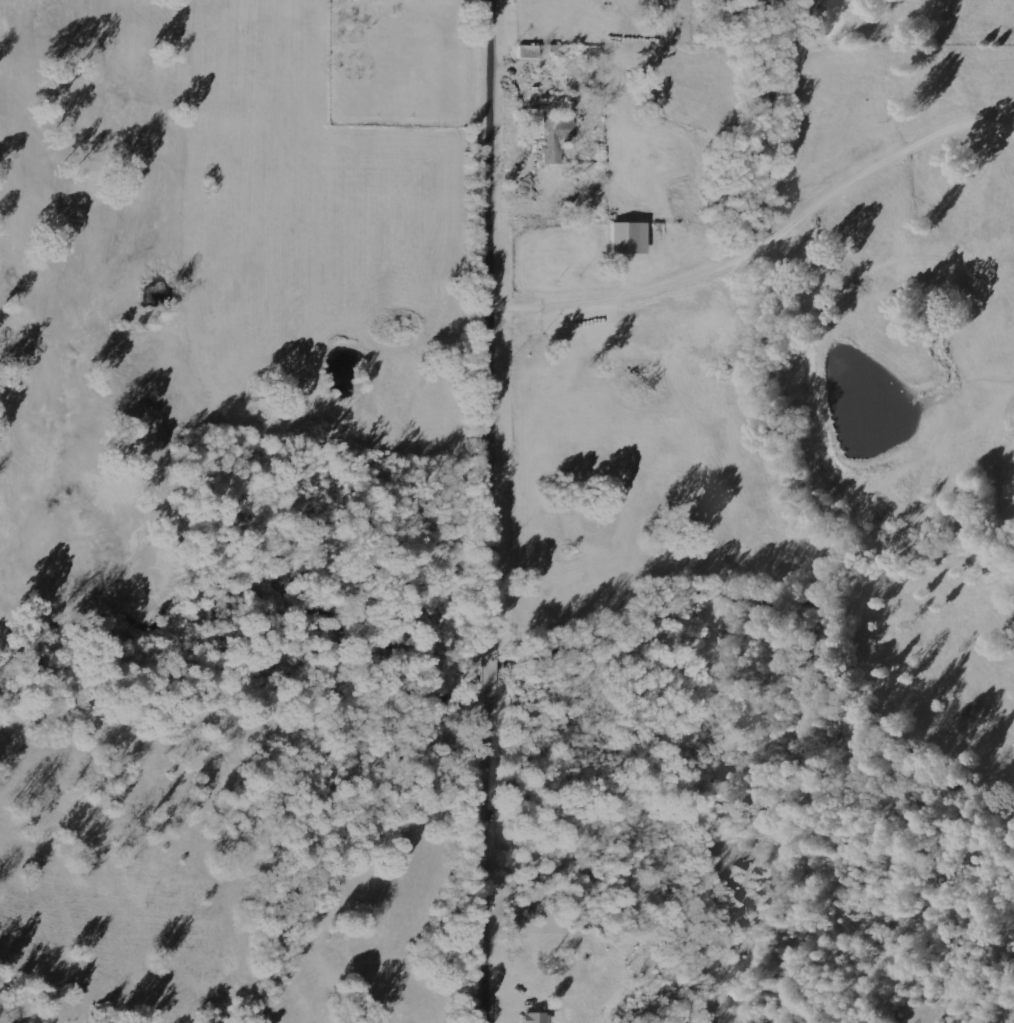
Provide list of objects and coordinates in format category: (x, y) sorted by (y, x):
building: (528, 51)
building: (556, 136)
building: (629, 237)
road: (767, 241)
road: (497, 511)
building: (536, 1017)

